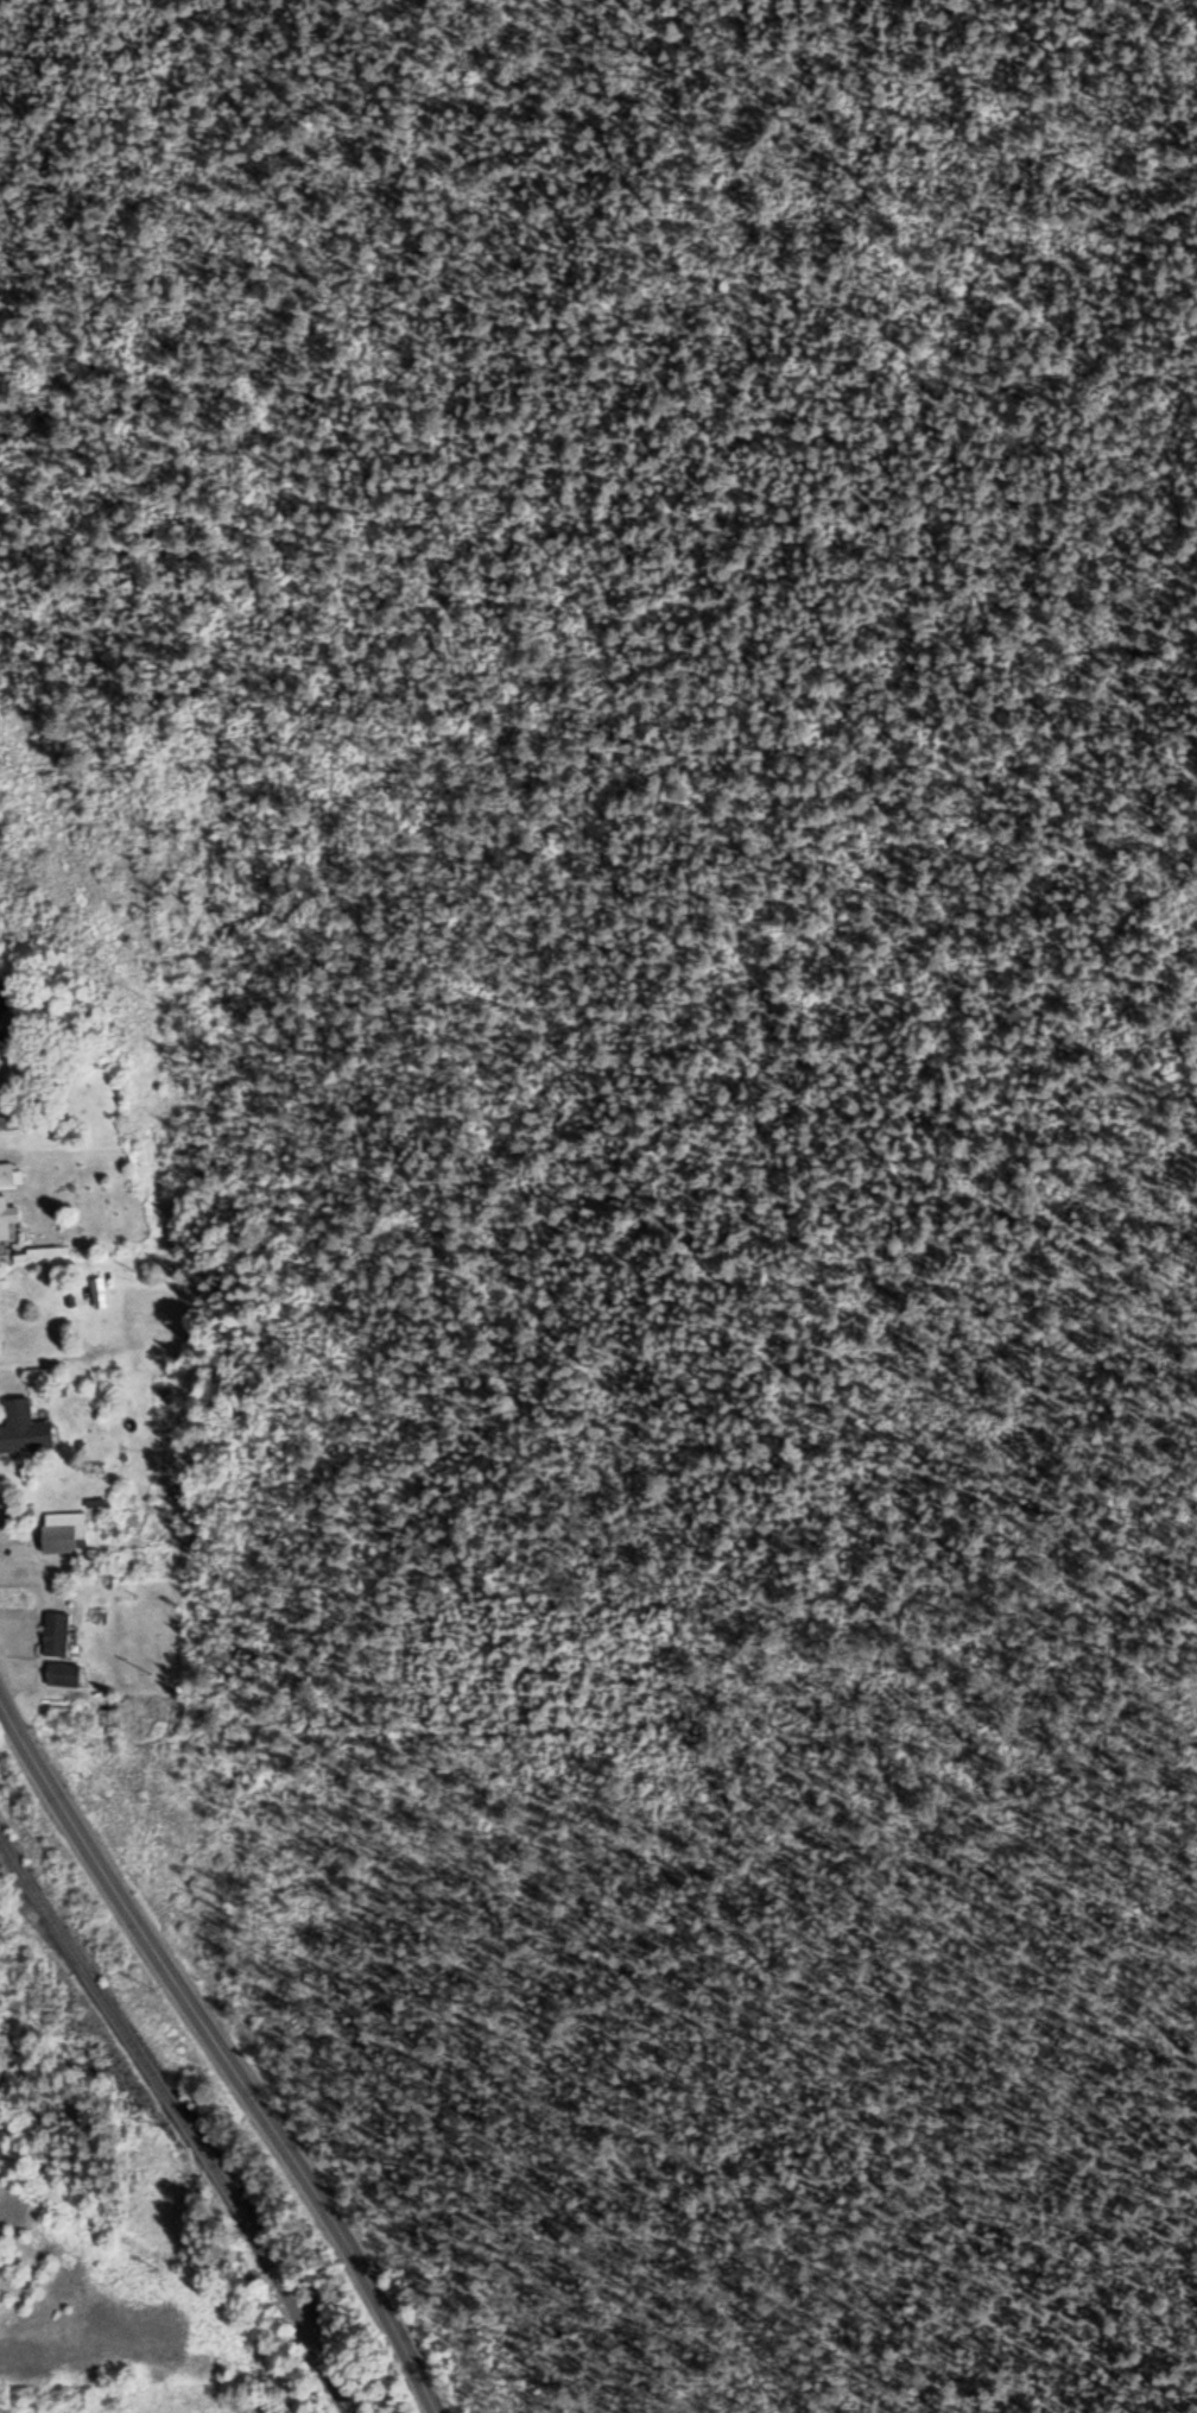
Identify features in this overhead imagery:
building: (4, 999)
building: (9, 1112)
building: (6, 1171)
building: (6, 1213)
building: (97, 1283)
building: (21, 1425)
building: (0, 1483)
building: (62, 1529)
building: (53, 1631)
building: (59, 1670)
road: (223, 2054)
railway: (180, 2118)

